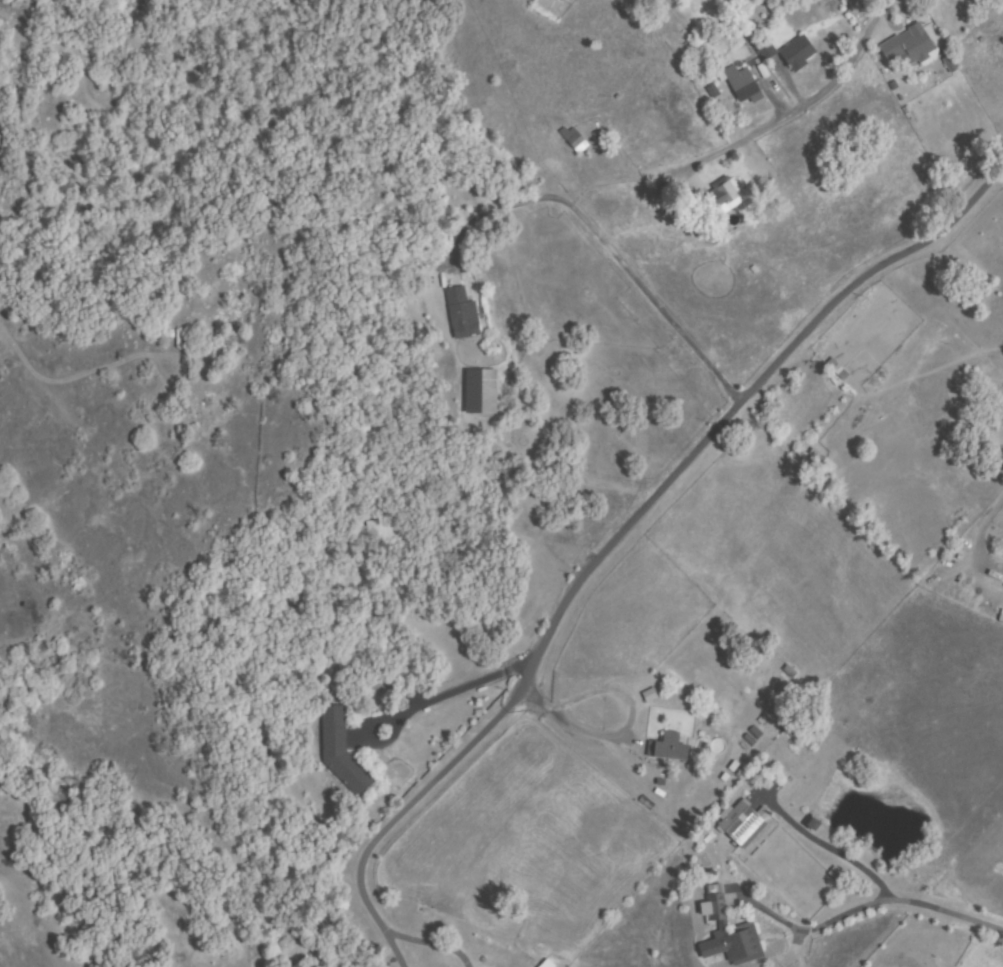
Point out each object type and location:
building: (910, 47)
building: (765, 50)
building: (797, 53)
building: (947, 63)
building: (742, 86)
building: (712, 91)
road: (796, 117)
building: (574, 140)
building: (723, 197)
building: (461, 314)
building: (478, 391)
road: (659, 499)
road: (1001, 510)
building: (647, 694)
building: (667, 748)
building: (340, 751)
building: (741, 822)
road: (950, 919)
building: (732, 931)
building: (544, 963)

